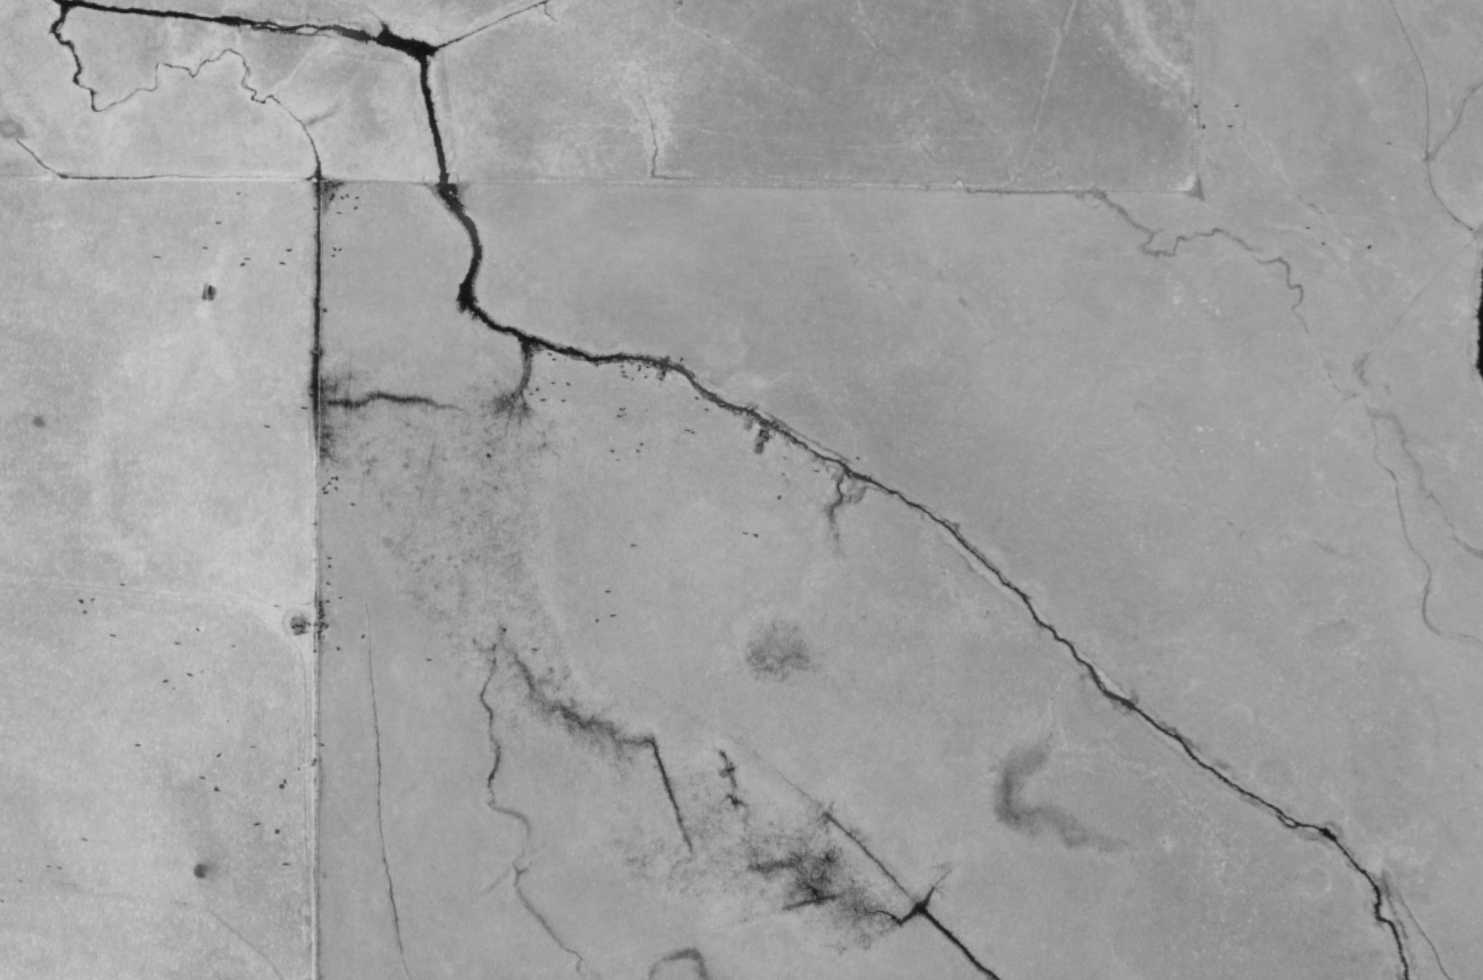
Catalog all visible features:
crop: (789, 466)

